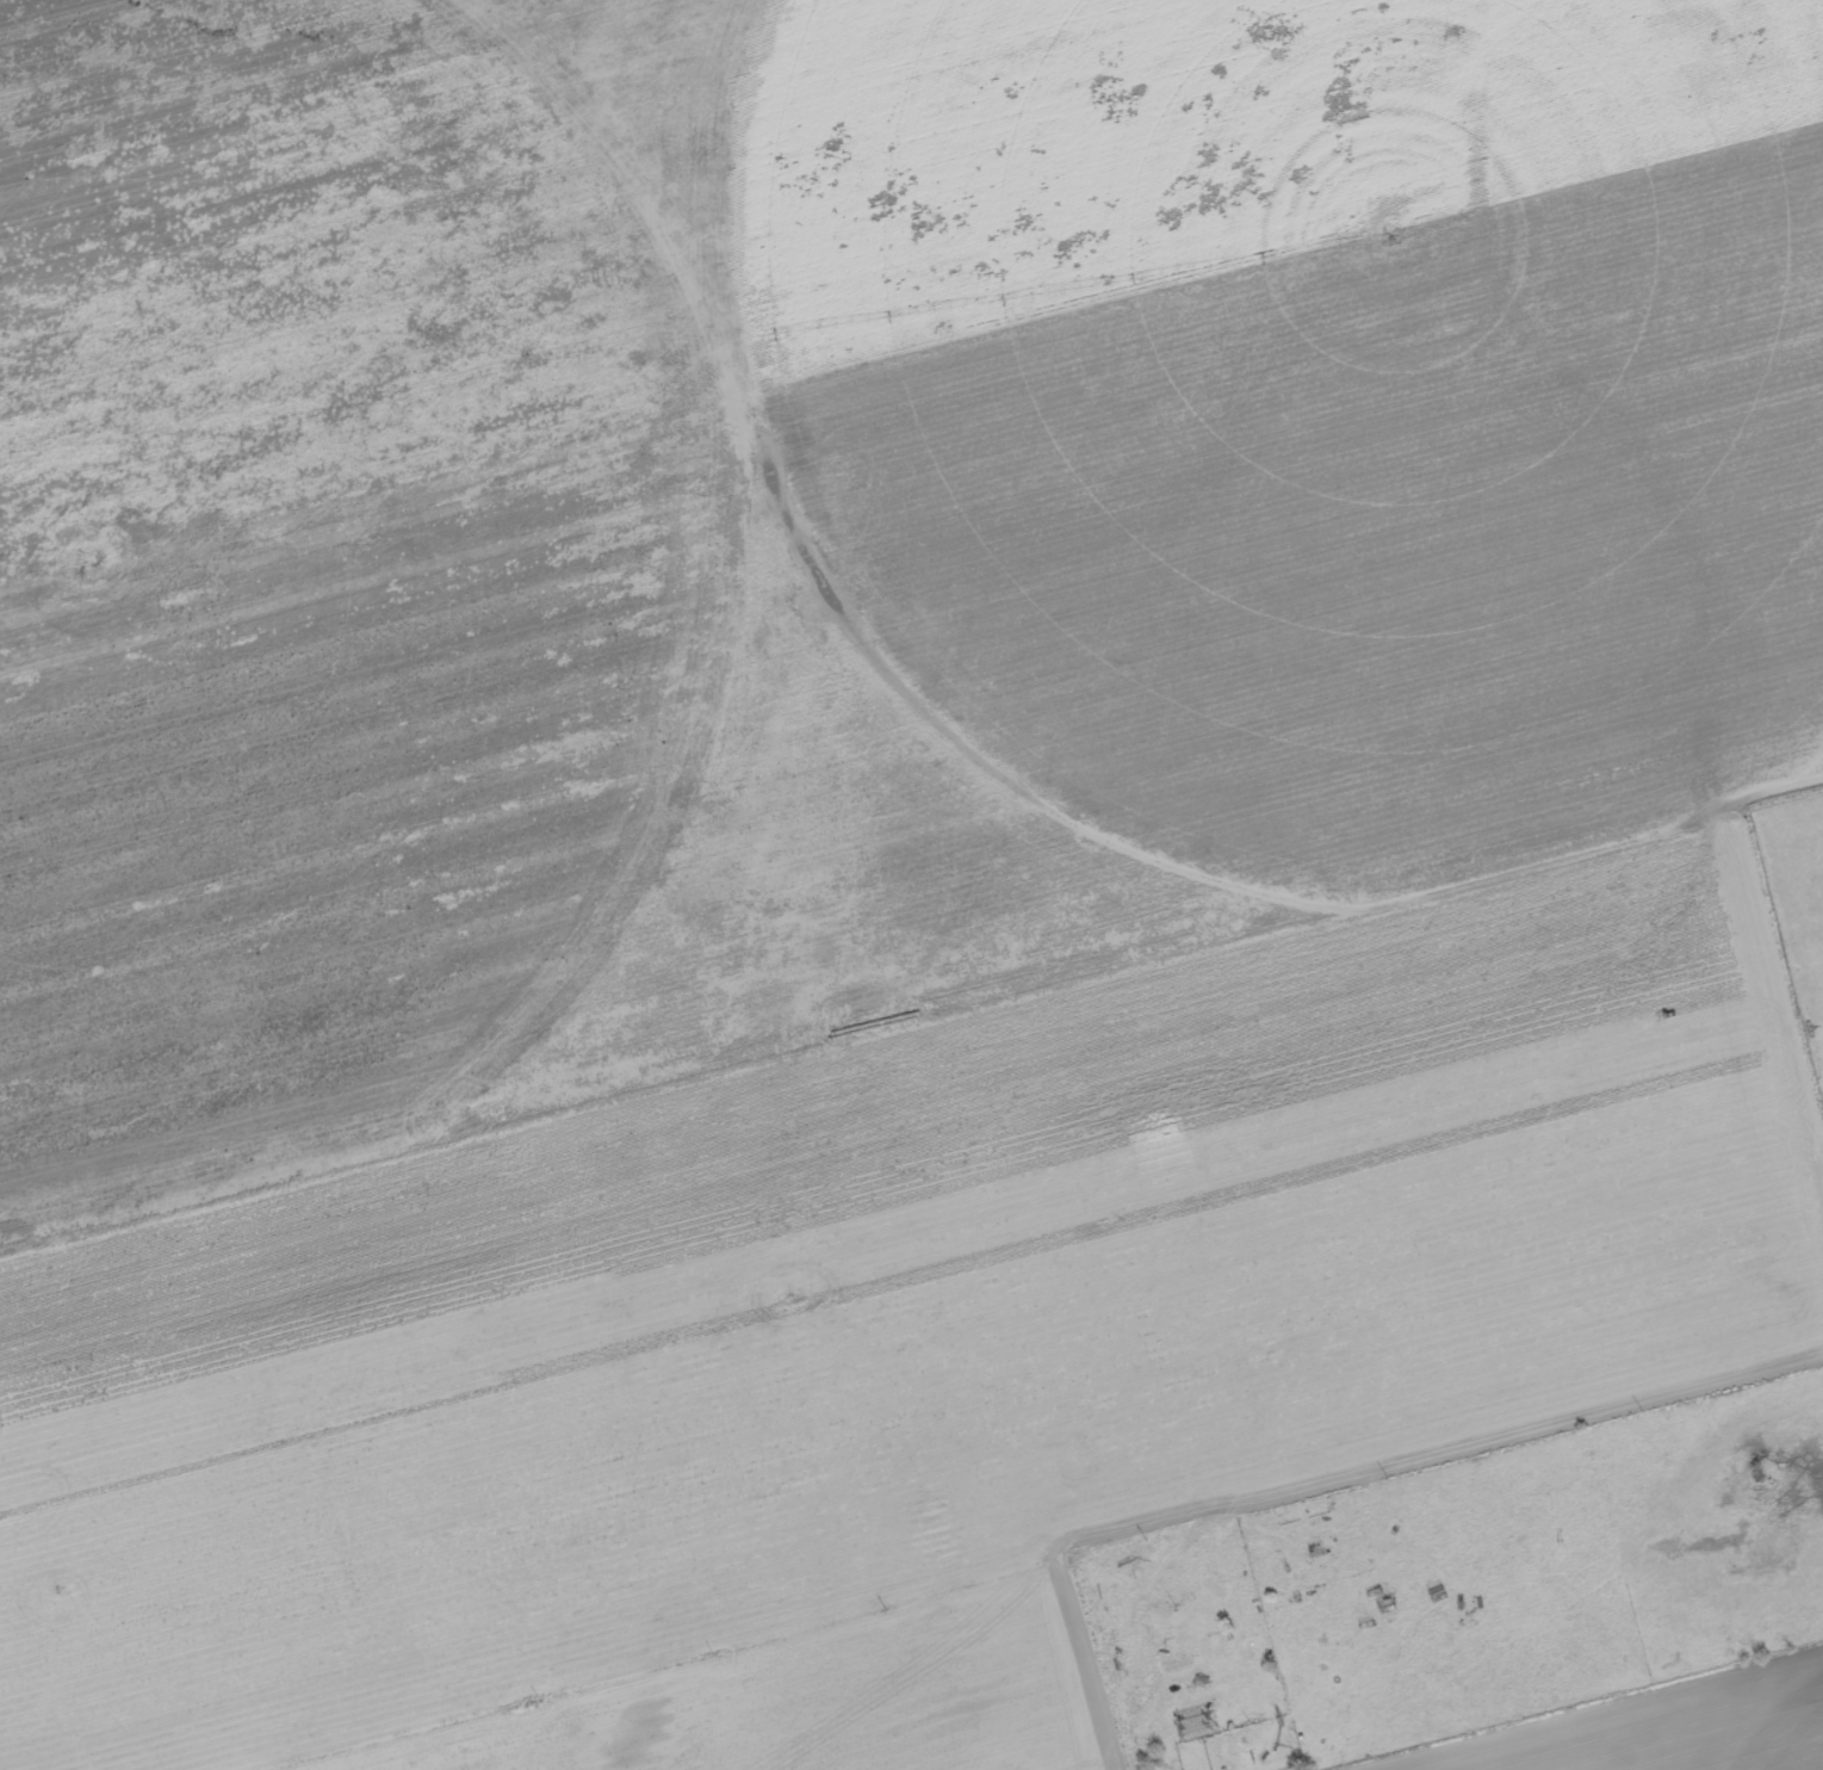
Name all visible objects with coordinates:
road: (1439, 1431)

